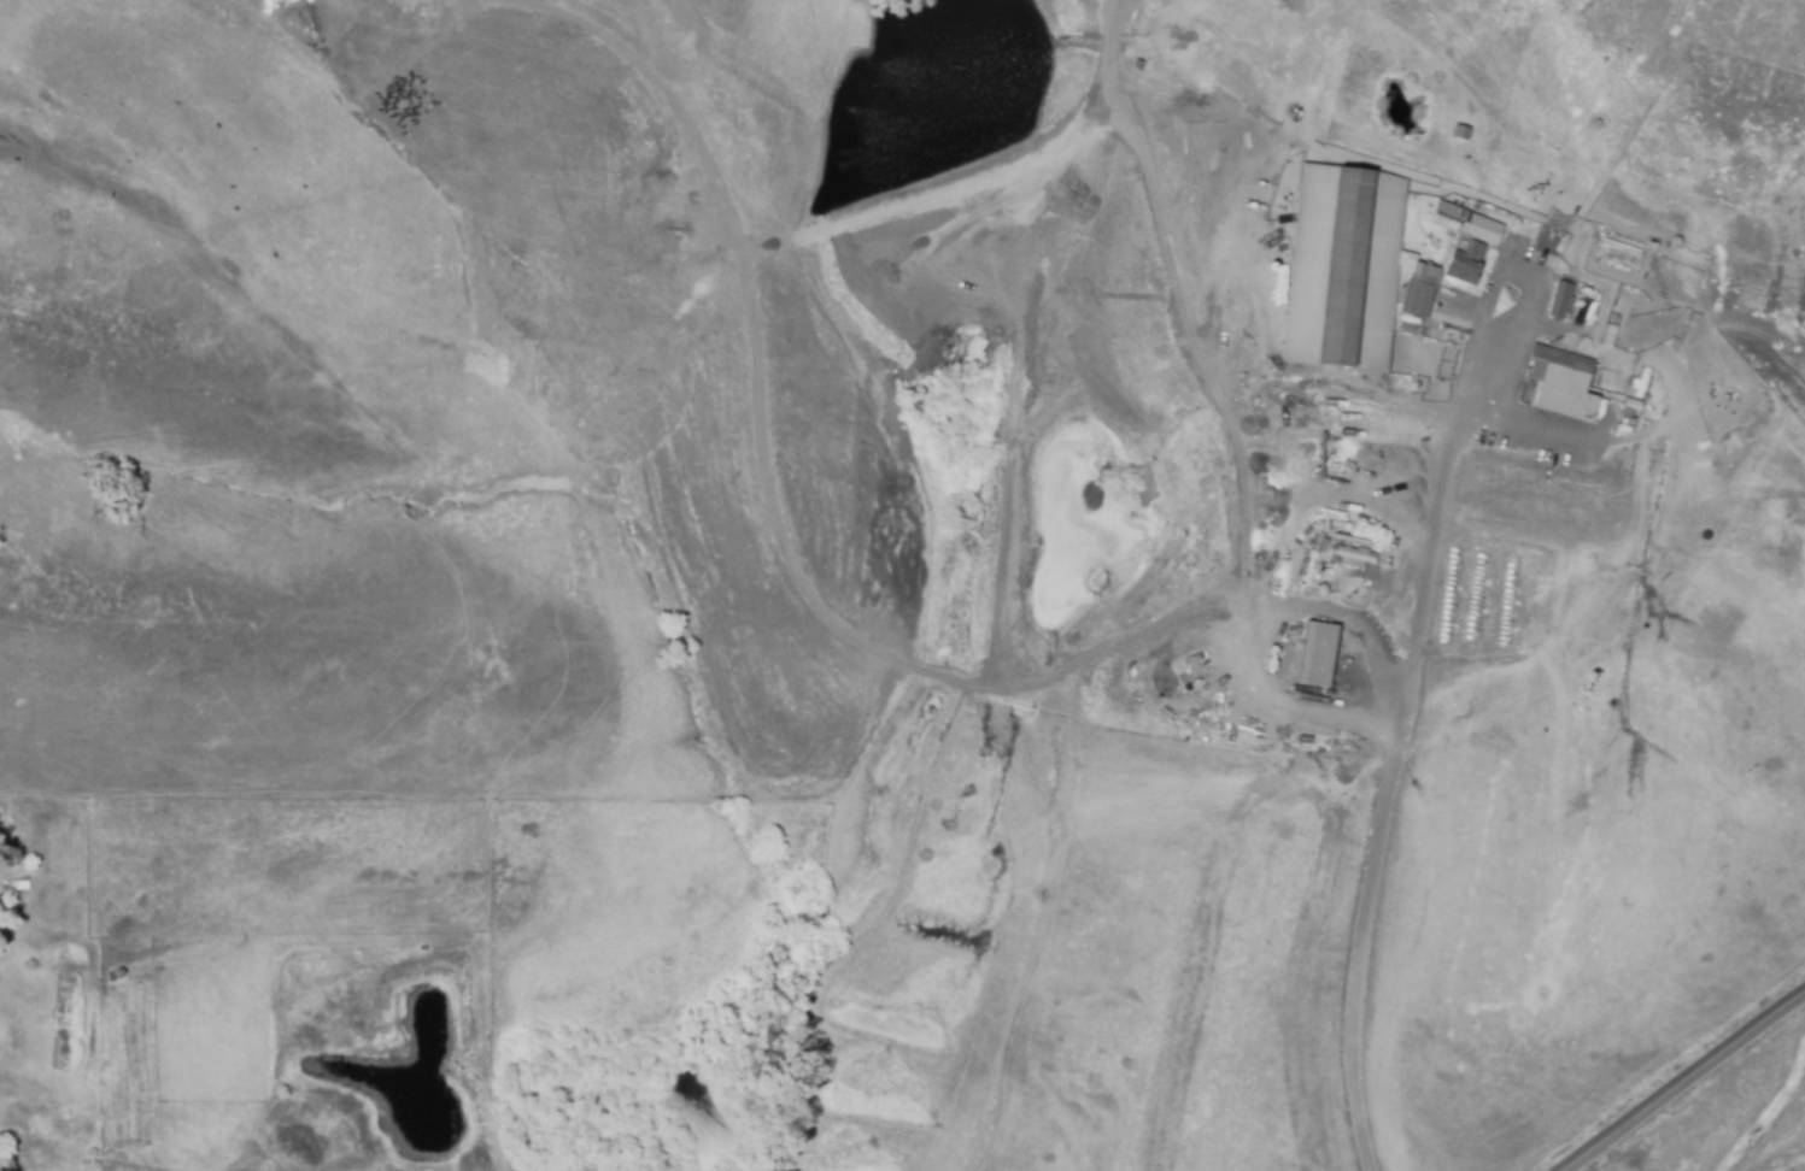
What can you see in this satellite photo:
building: (1460, 134)
building: (1525, 231)
building: (1472, 247)
building: (1343, 270)
building: (1417, 296)
building: (1560, 301)
building: (1611, 331)
road: (1484, 373)
building: (1561, 382)
building: (1631, 406)
road: (1523, 425)
building: (1353, 557)
building: (1340, 582)
road: (1391, 593)
road: (1296, 601)
building: (1318, 657)
road: (1279, 701)
building: (1324, 712)
building: (1334, 758)
road: (1385, 796)
road: (1683, 1082)

